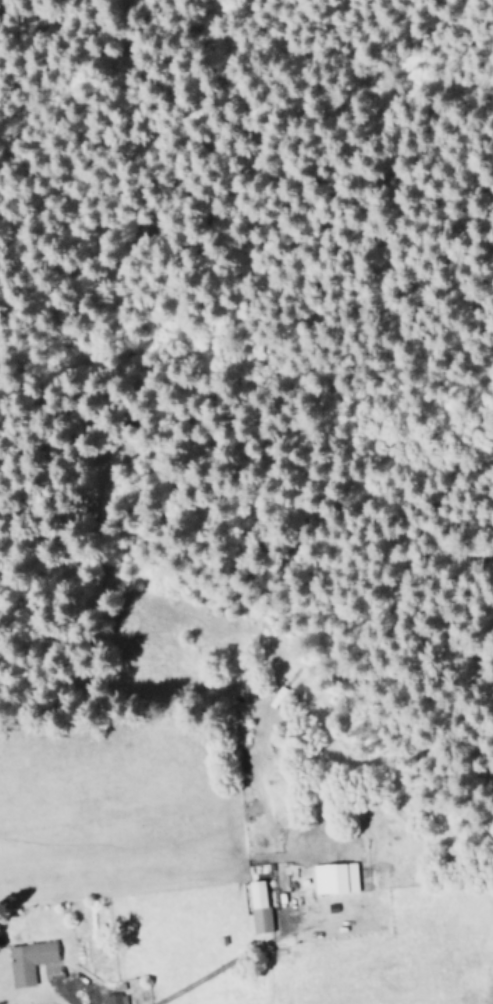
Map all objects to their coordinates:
building: (334, 877)
building: (258, 906)
building: (28, 960)
road: (68, 977)
building: (114, 998)

